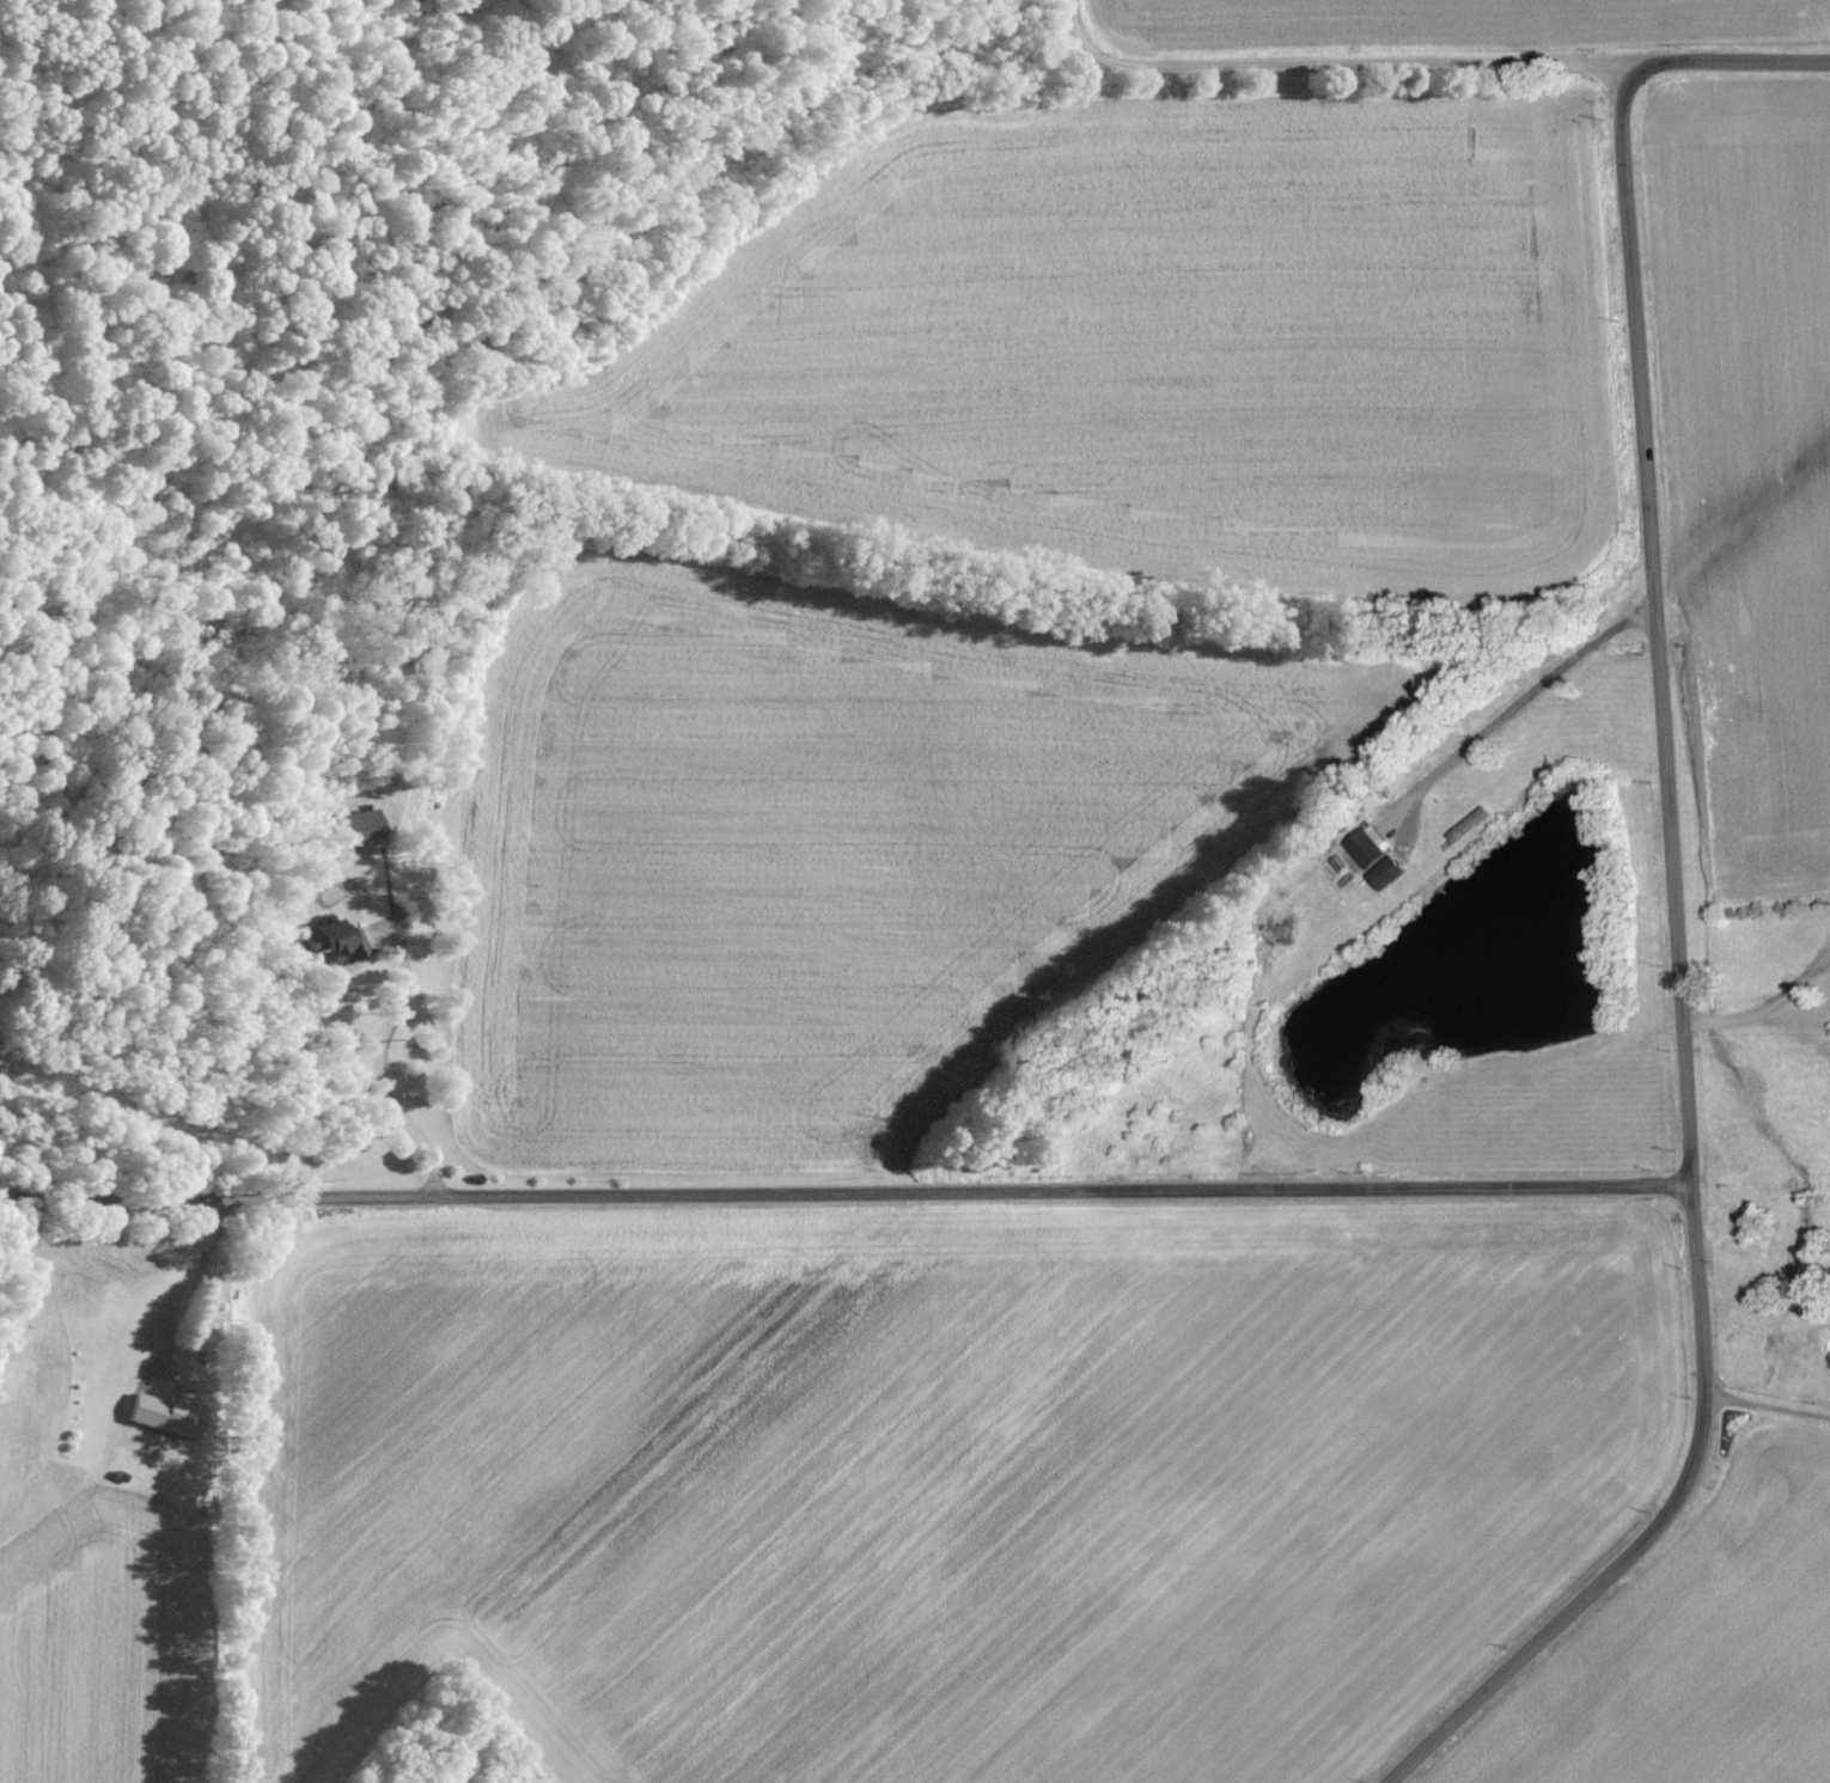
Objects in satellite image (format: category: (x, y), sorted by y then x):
road: (1726, 60)
road: (1326, 66)
building: (361, 826)
building: (1370, 848)
building: (1391, 872)
building: (338, 940)
road: (1679, 993)
road: (846, 1192)
building: (172, 1413)

